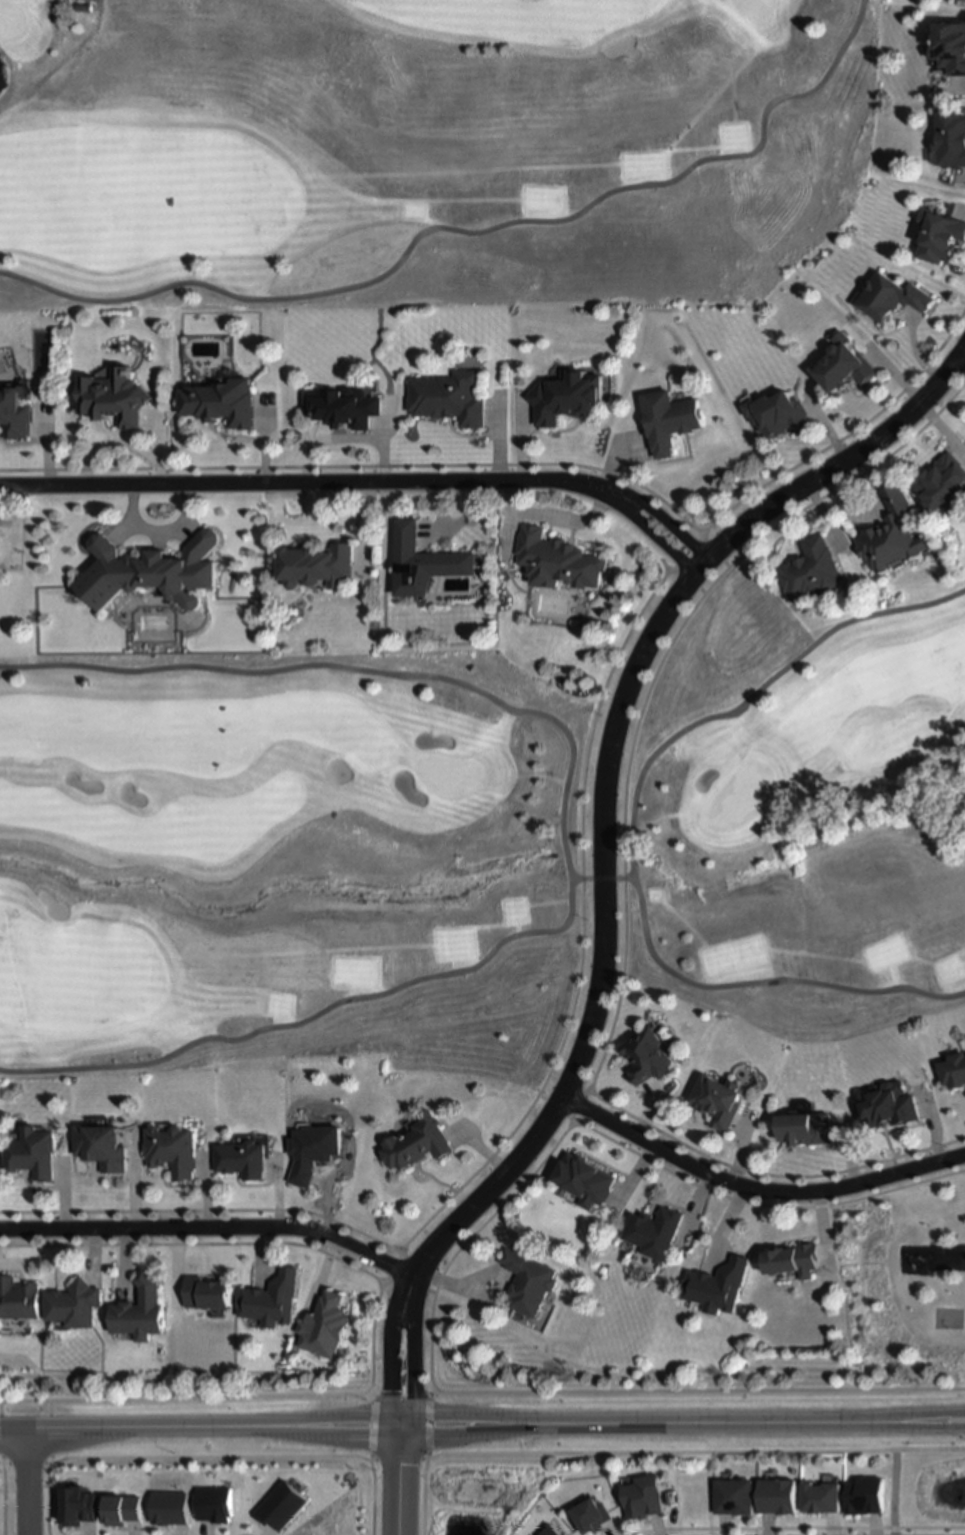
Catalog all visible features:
building: (85, 6)
park: (750, 9)
building: (950, 45)
building: (949, 137)
park: (423, 150)
road: (469, 233)
building: (938, 234)
building: (886, 295)
building: (838, 362)
building: (114, 394)
building: (562, 394)
building: (445, 395)
building: (221, 399)
building: (340, 404)
building: (14, 411)
building: (772, 412)
building: (667, 417)
building: (942, 480)
road: (286, 481)
road: (645, 506)
road: (552, 516)
road: (637, 520)
road: (158, 530)
building: (891, 533)
building: (556, 558)
building: (422, 559)
building: (315, 564)
road: (728, 566)
building: (151, 569)
building: (810, 569)
road: (605, 764)
park: (447, 776)
park: (739, 797)
road: (562, 837)
road: (631, 838)
park: (471, 853)
road: (623, 859)
road: (601, 879)
road: (617, 987)
building: (643, 1056)
building: (952, 1069)
building: (714, 1100)
building: (885, 1105)
building: (802, 1128)
building: (419, 1144)
building: (105, 1147)
building: (175, 1150)
building: (316, 1151)
building: (35, 1153)
building: (244, 1159)
road: (767, 1175)
building: (582, 1179)
road: (753, 1188)
road: (759, 1205)
road: (211, 1228)
building: (651, 1231)
road: (465, 1242)
building: (789, 1260)
building: (527, 1281)
building: (716, 1286)
park: (905, 1288)
building: (209, 1292)
building: (18, 1299)
building: (274, 1299)
building: (75, 1304)
building: (142, 1311)
park: (948, 1318)
building: (328, 1326)
road: (390, 1347)
road: (409, 1349)
road: (683, 1423)
road: (200, 1424)
road: (694, 1452)
road: (370, 1465)
road: (400, 1479)
road: (24, 1480)
road: (894, 1492)
road: (421, 1496)
building: (778, 1497)
building: (643, 1498)
building: (735, 1498)
building: (821, 1498)
building: (204, 1501)
building: (295, 1501)
building: (592, 1516)
road: (798, 1529)

